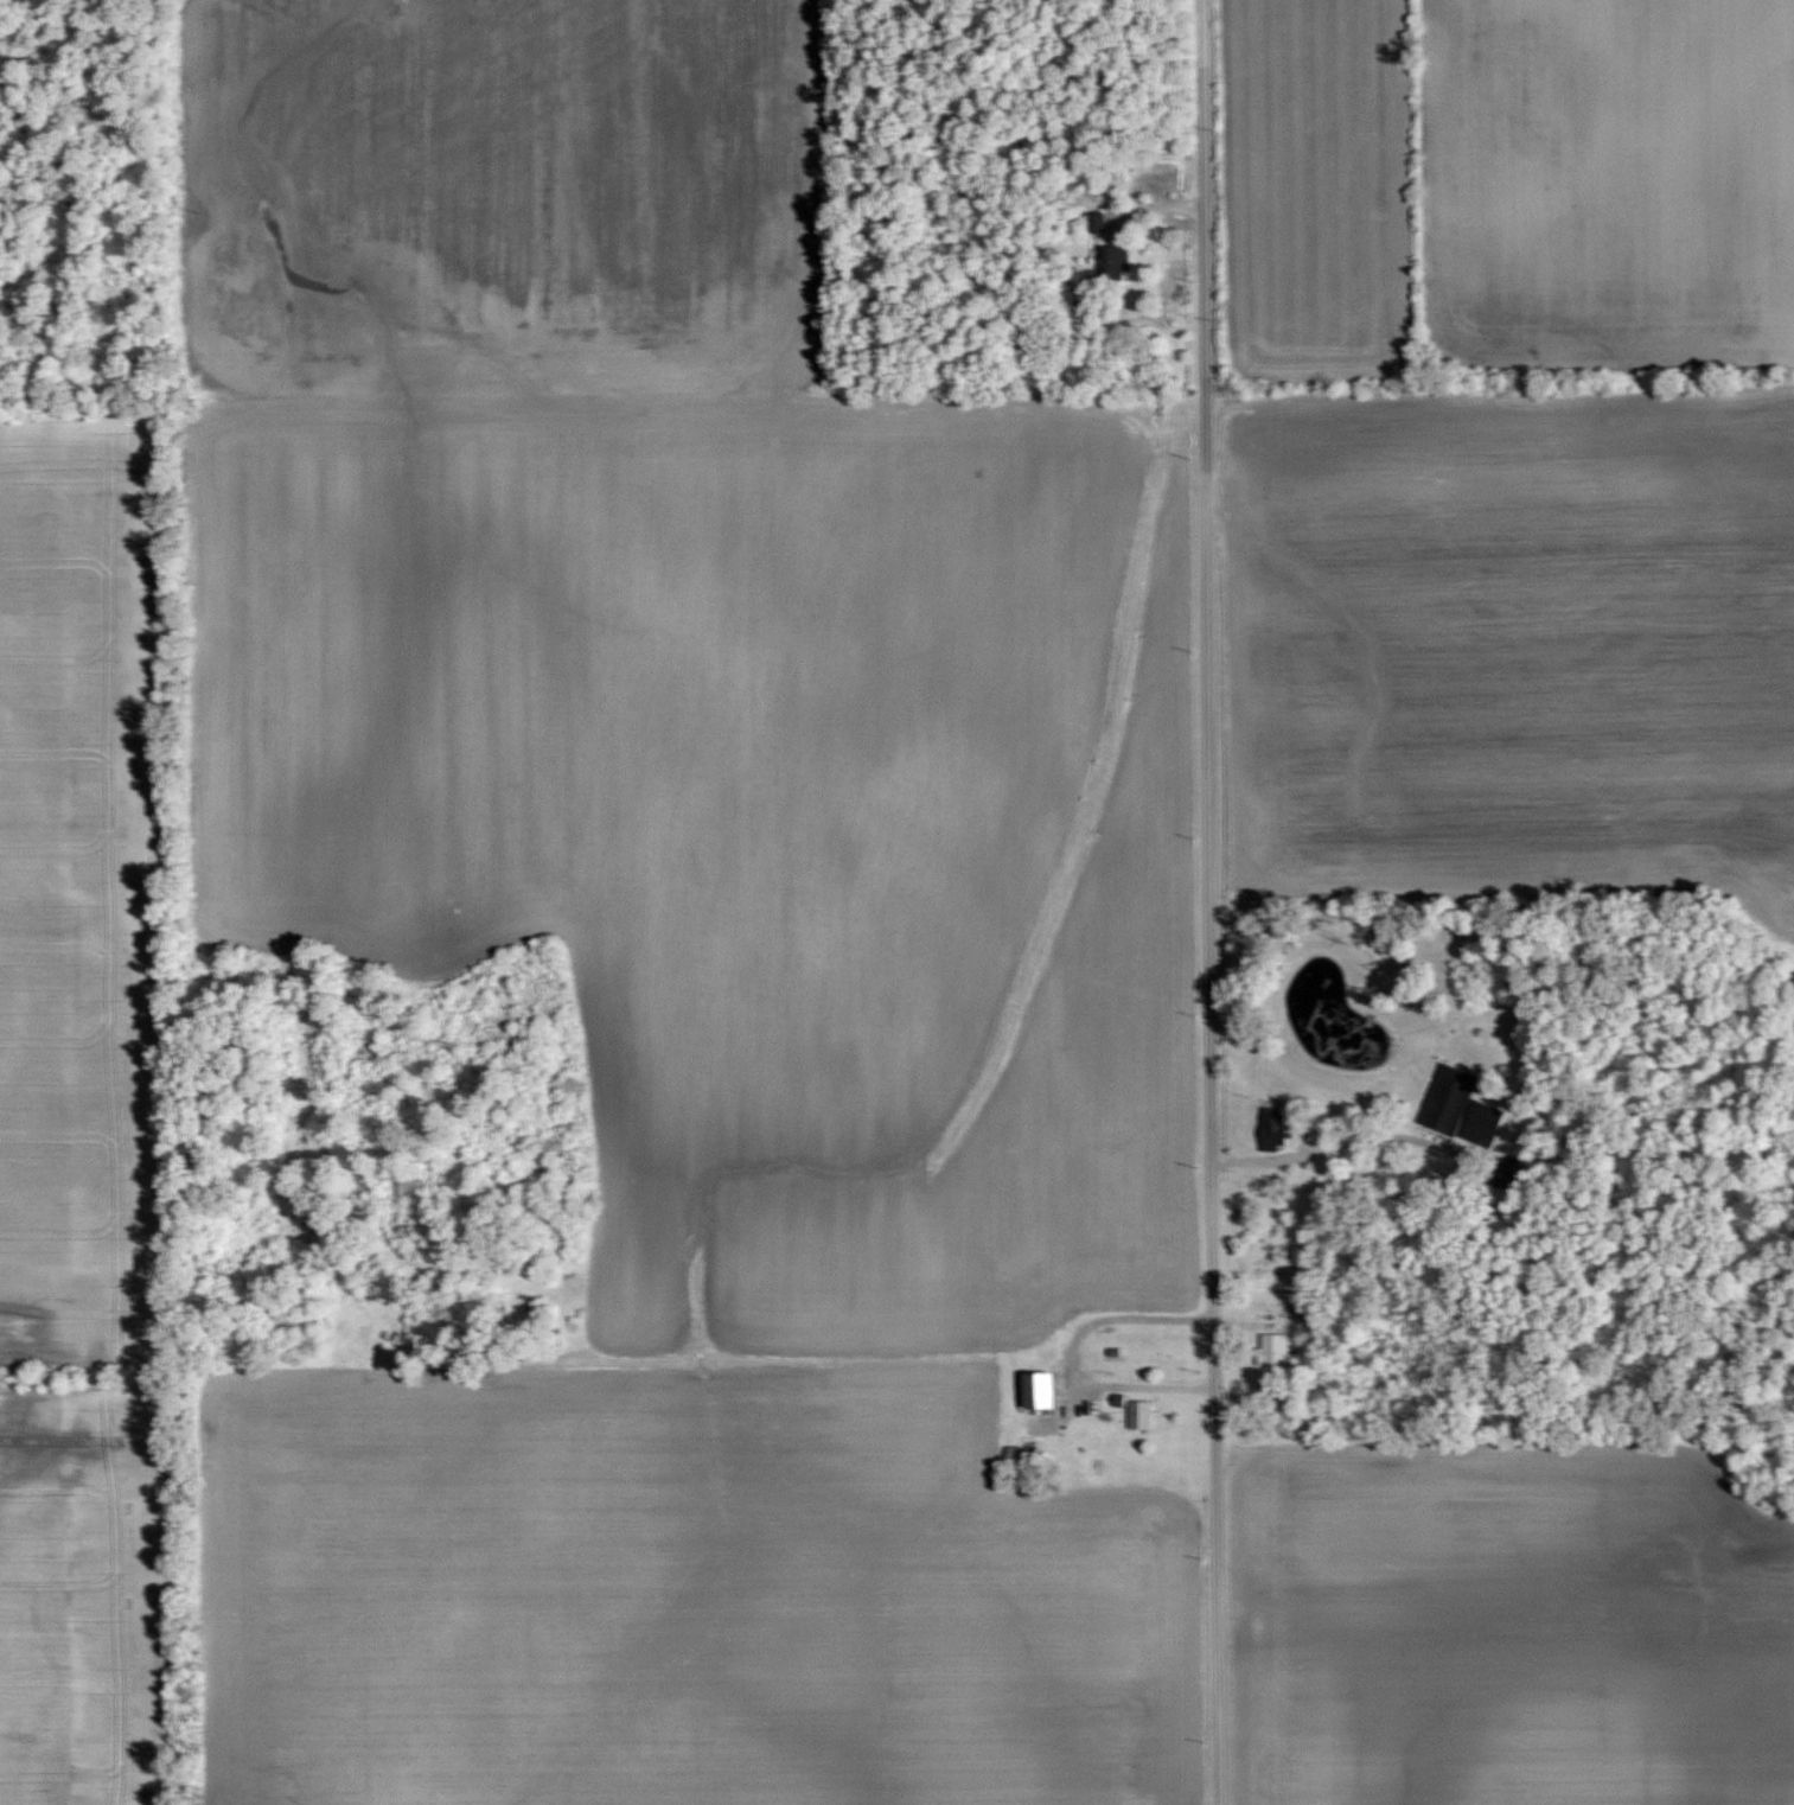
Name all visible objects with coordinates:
building: (1096, 222)
building: (1117, 263)
road: (1205, 902)
building: (1461, 1105)
building: (1272, 1128)
road: (1321, 1143)
road: (1066, 1347)
building: (1275, 1348)
building: (1035, 1390)
building: (1136, 1411)

